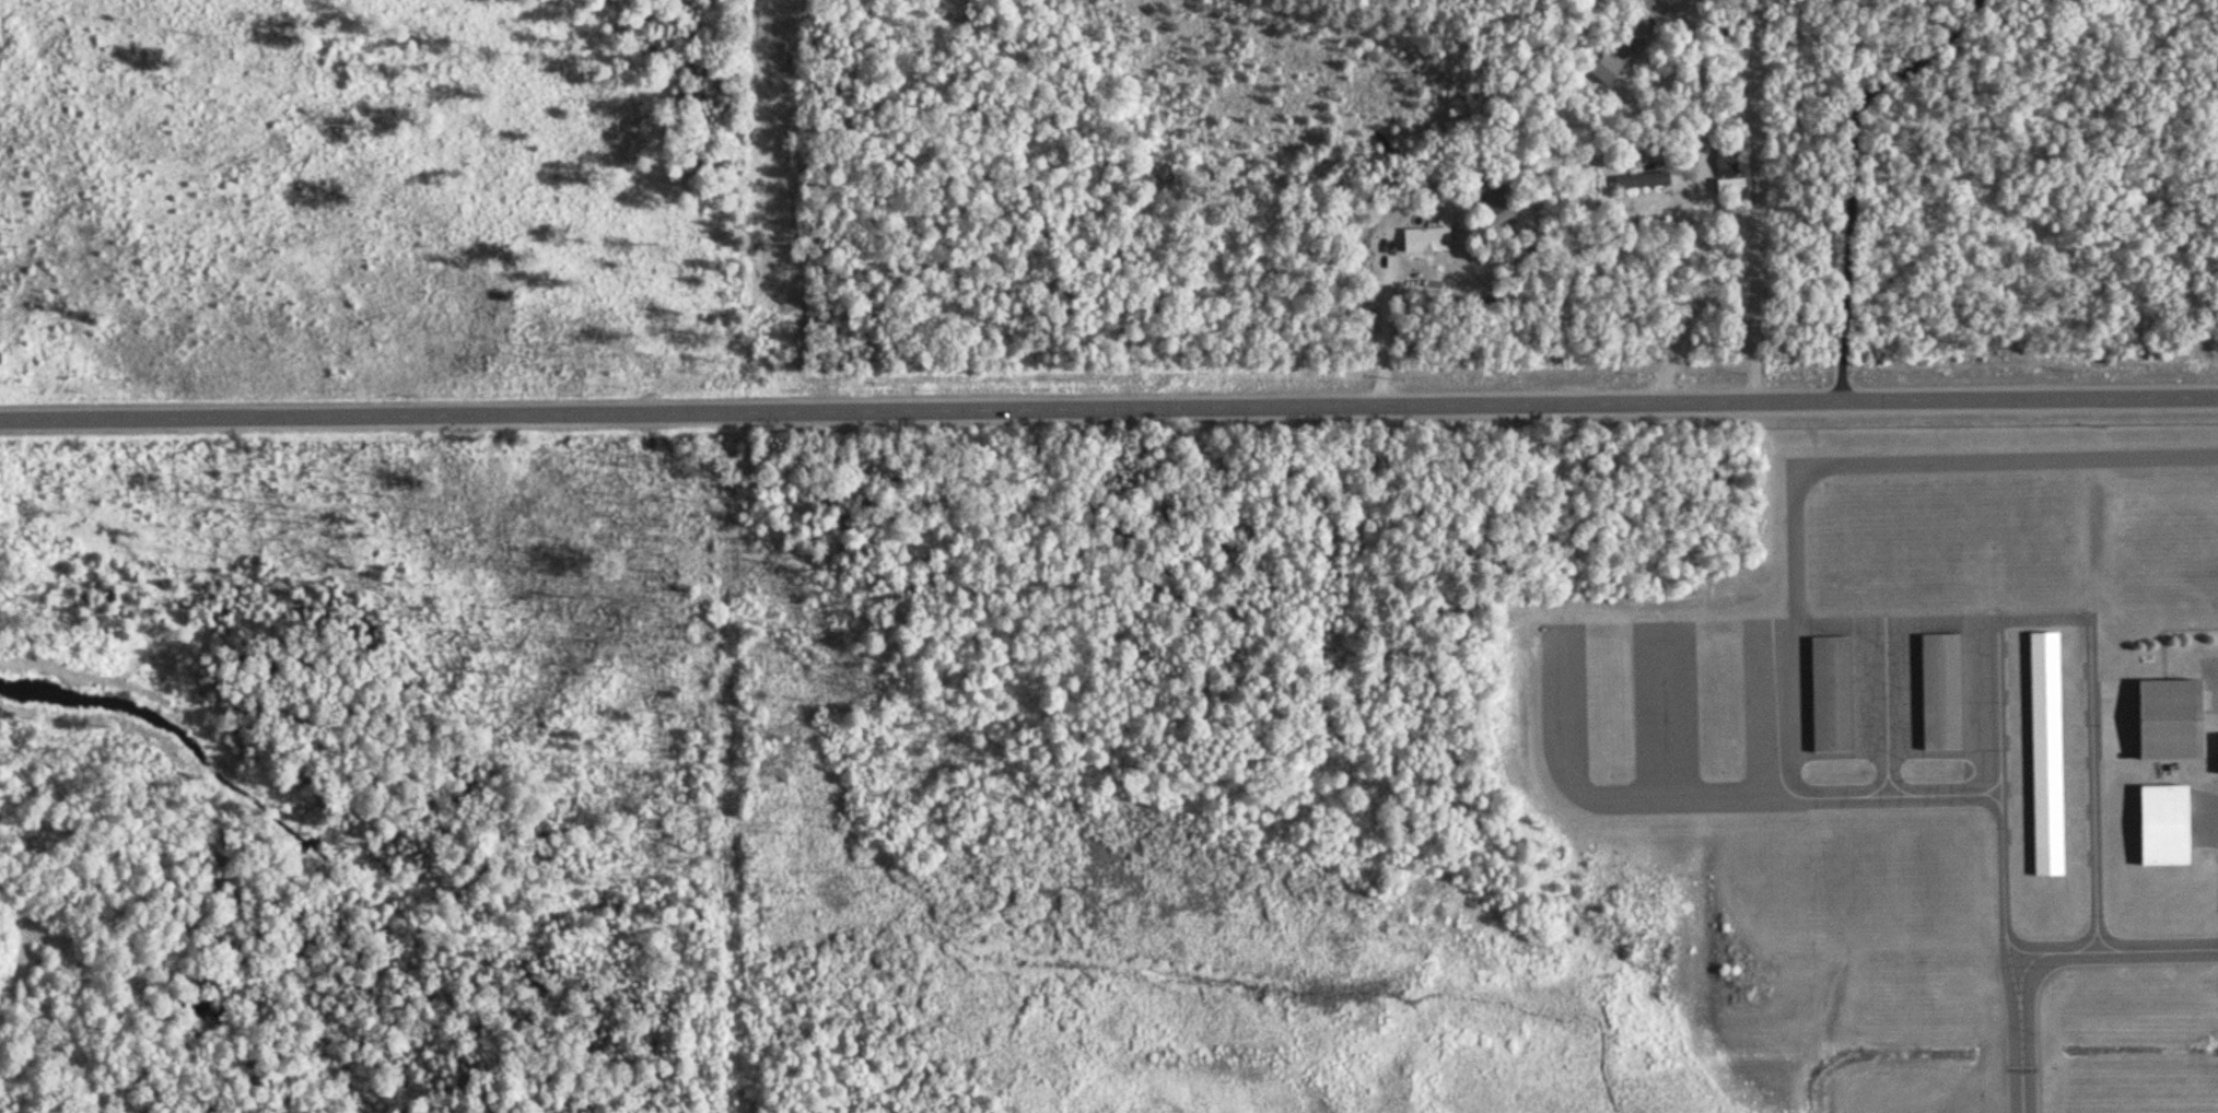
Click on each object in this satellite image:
building: (1620, 48)
building: (1725, 156)
building: (1641, 179)
building: (1730, 184)
road: (1678, 199)
building: (1492, 206)
building: (1424, 236)
road: (1108, 405)
road: (1924, 460)
road: (2213, 665)
building: (1939, 689)
building: (1830, 691)
building: (2150, 717)
building: (2217, 750)
building: (2045, 751)
airport: (1907, 773)
building: (2162, 822)
airport taxiway: (2046, 951)
road: (50, 1012)

